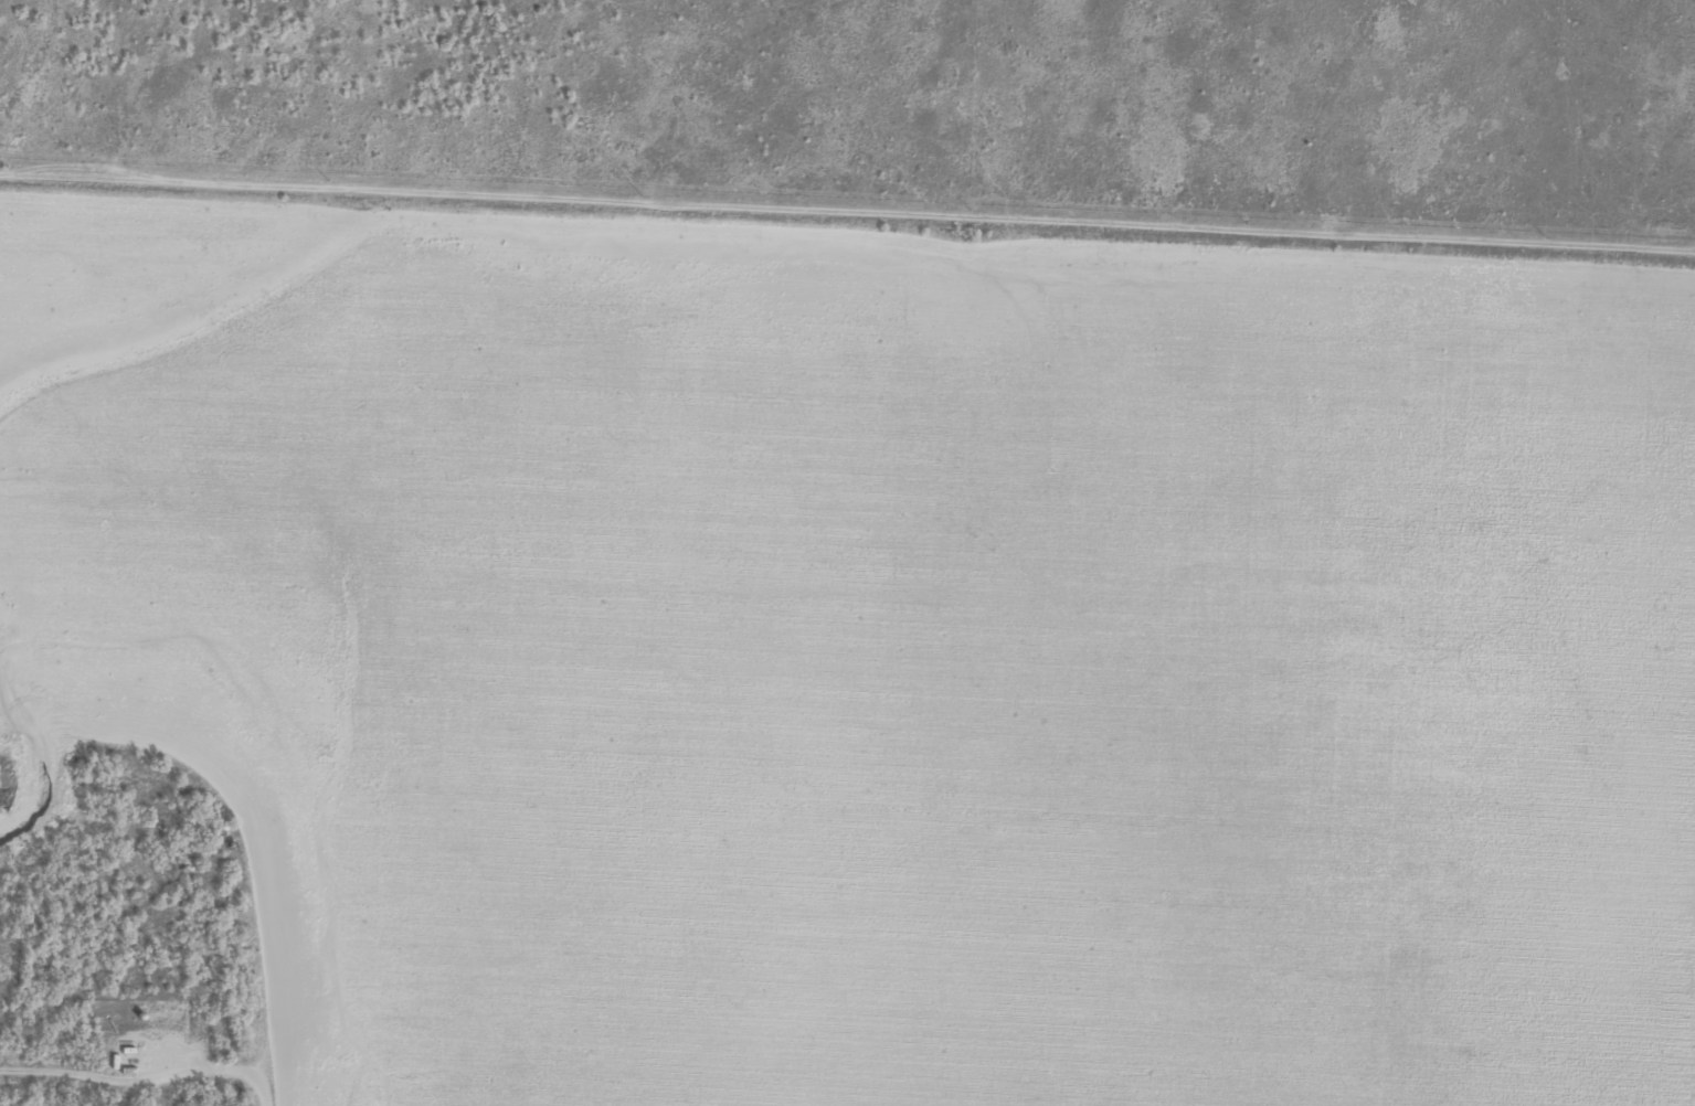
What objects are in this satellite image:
road: (847, 234)
road: (4, 354)
road: (199, 882)

